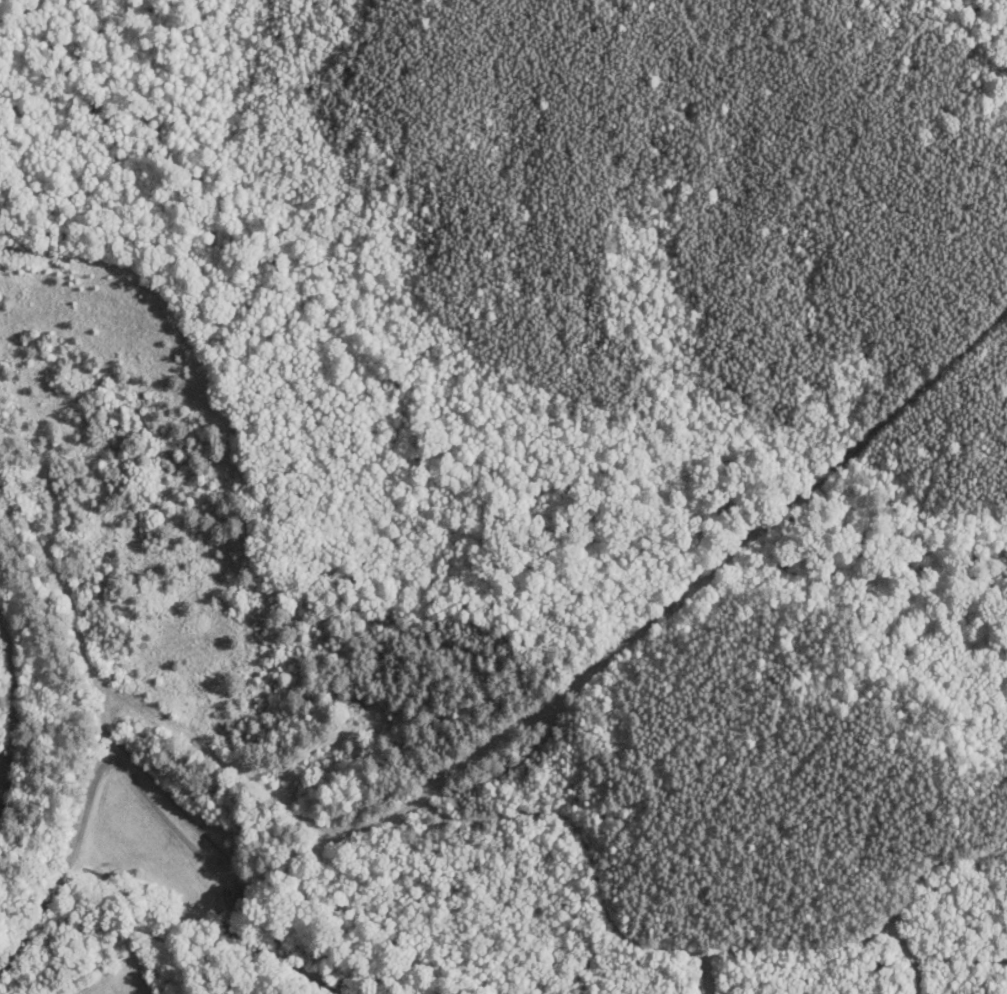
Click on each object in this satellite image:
road: (150, 784)

